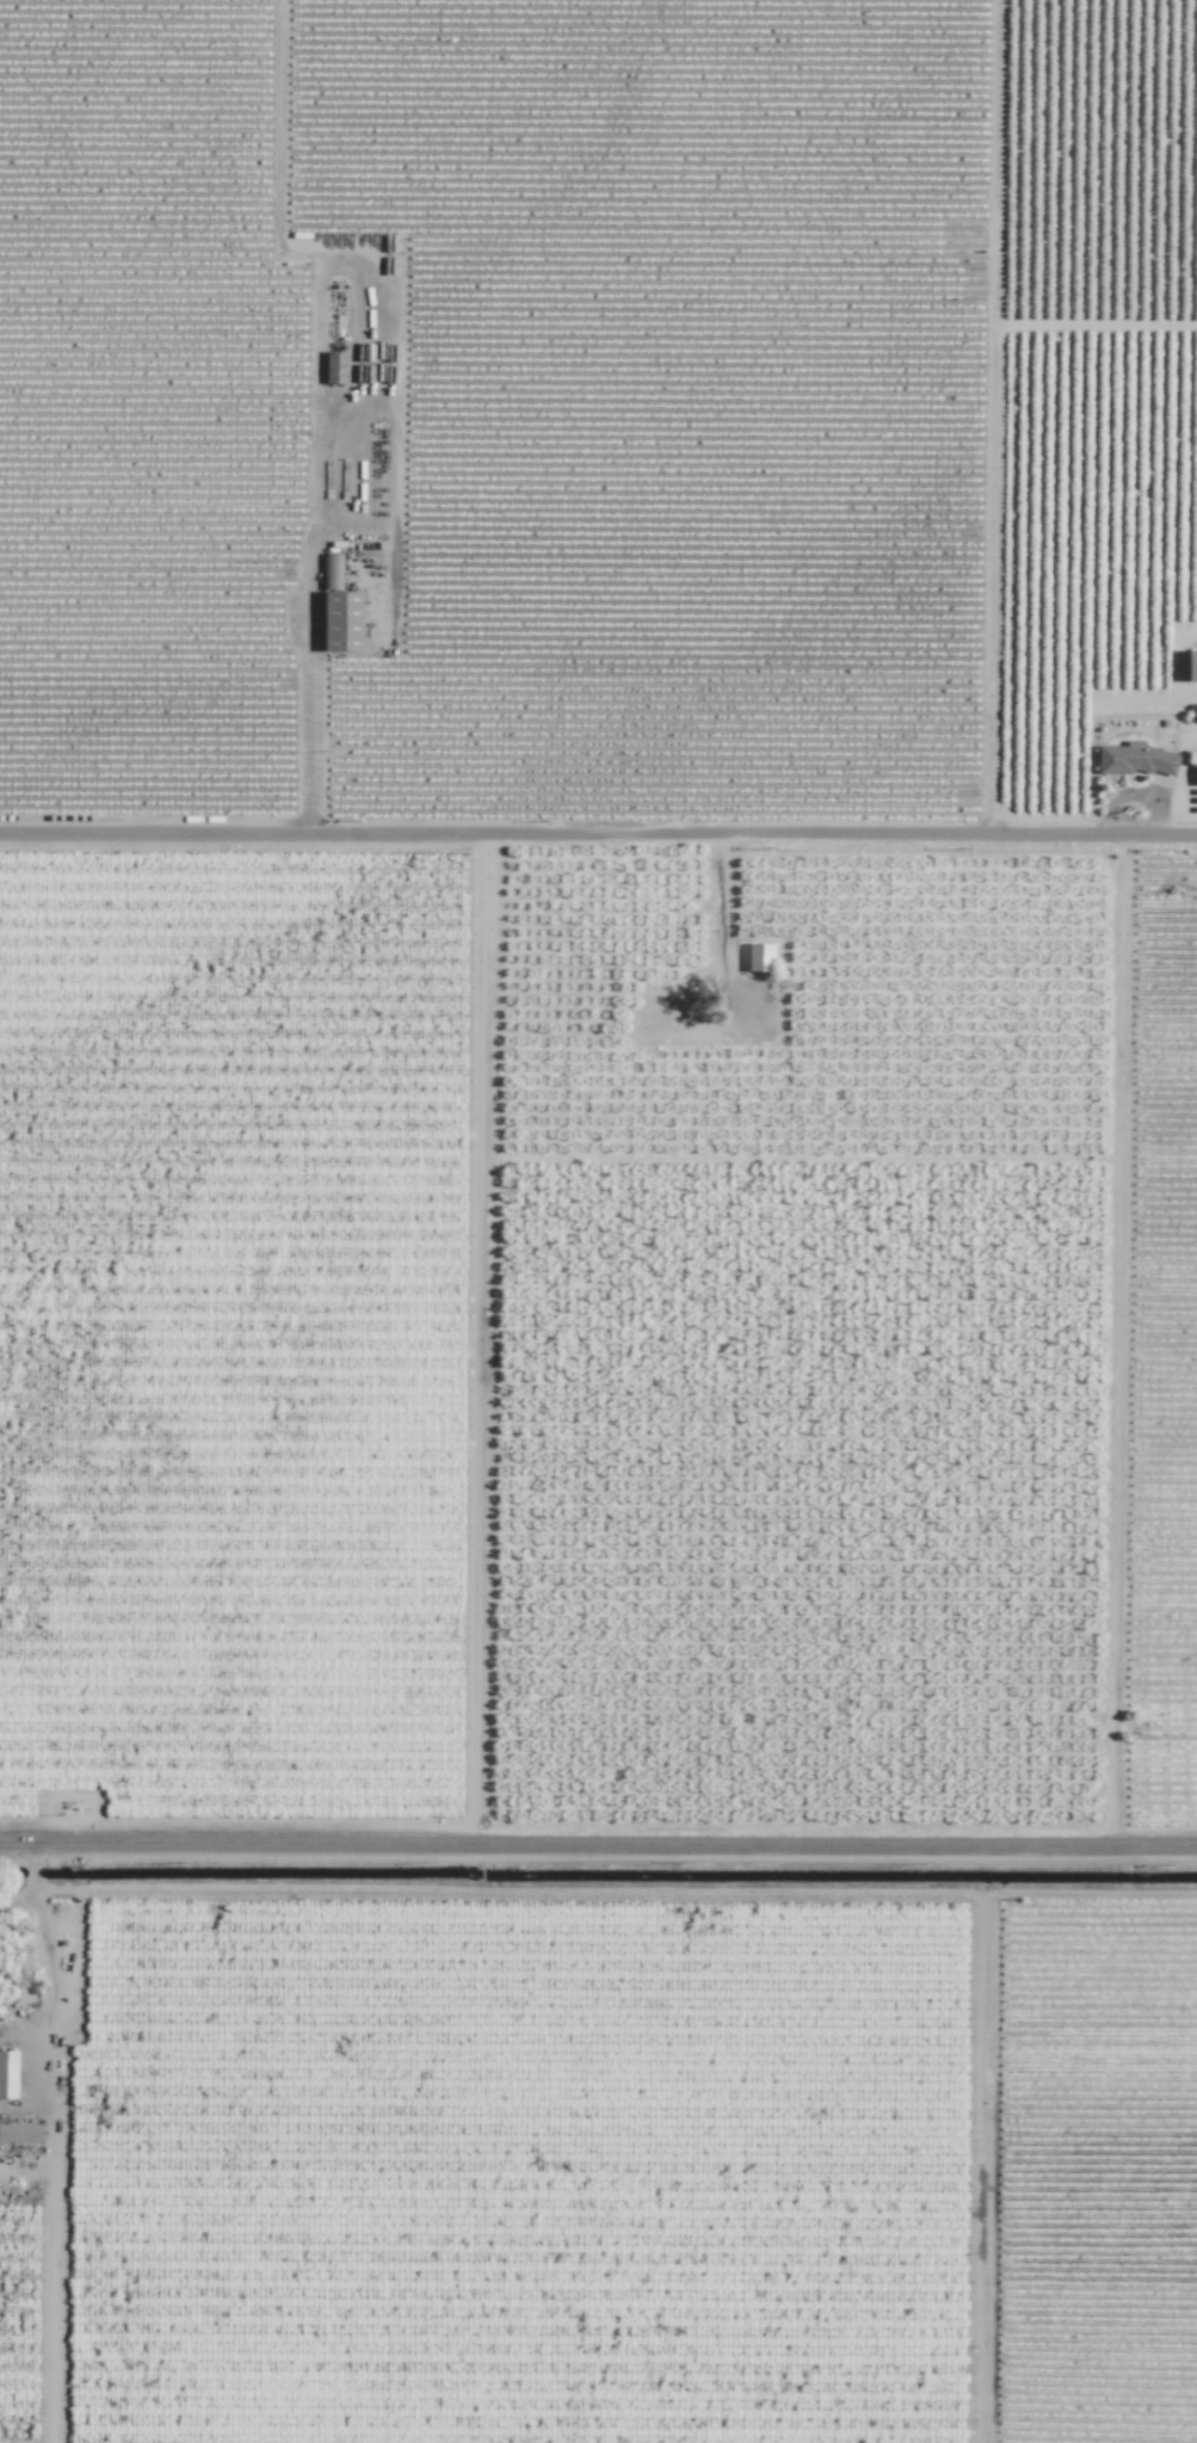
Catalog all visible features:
building: (334, 368)
building: (341, 621)
road: (307, 633)
building: (1191, 665)
building: (1134, 759)
building: (1196, 775)
road: (598, 844)
building: (760, 958)
road: (598, 1856)
building: (18, 1967)
building: (7, 2073)
building: (20, 2133)
road: (54, 2147)

